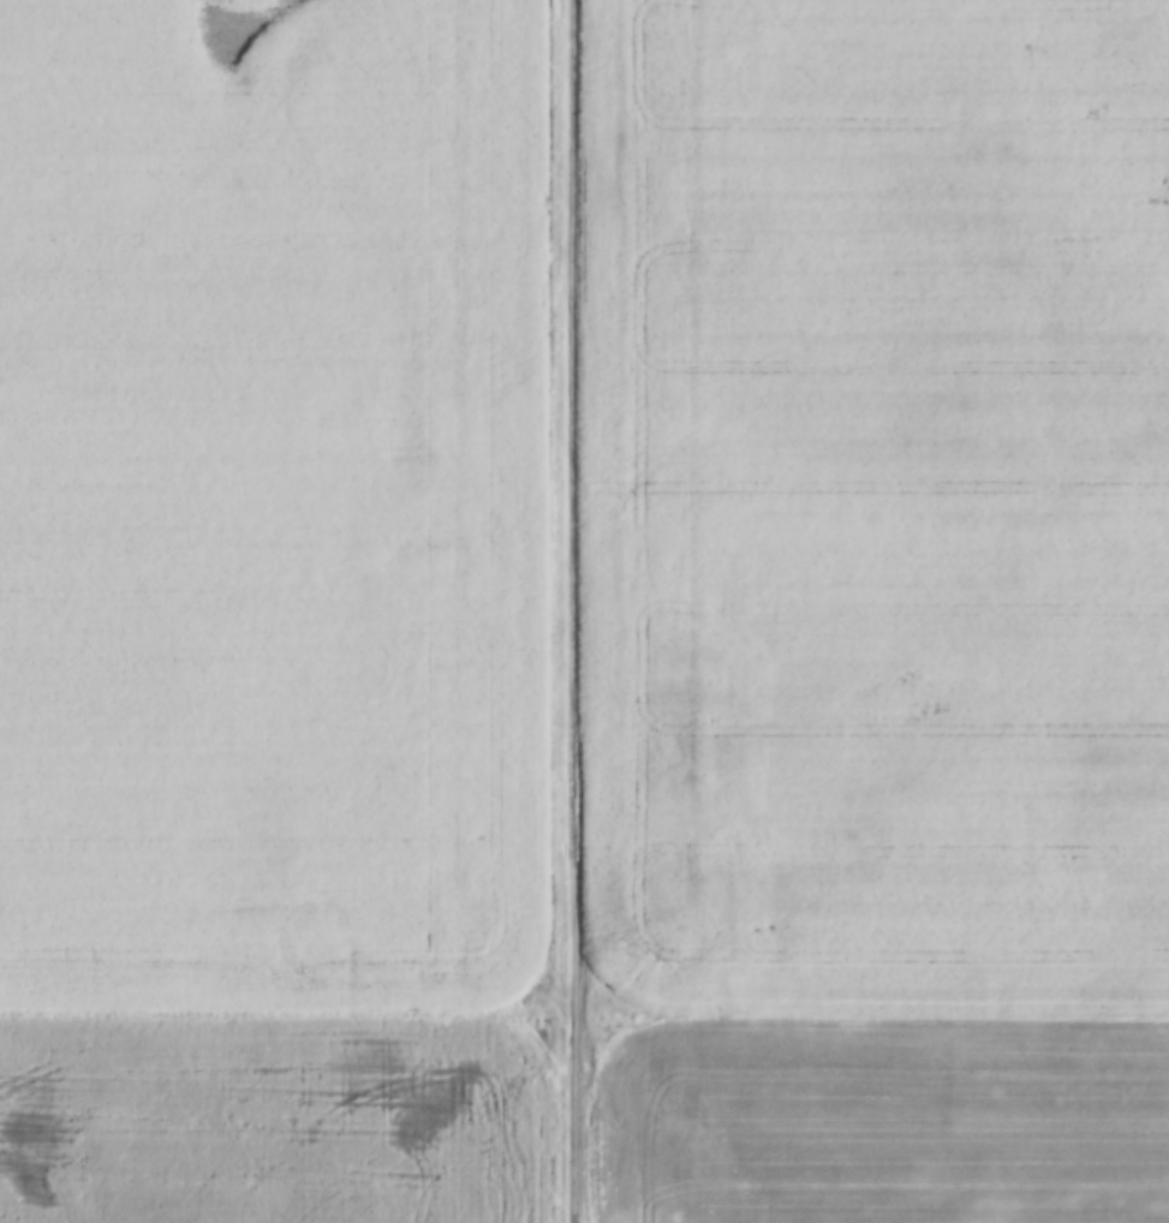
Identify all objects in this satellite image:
road: (584, 611)

